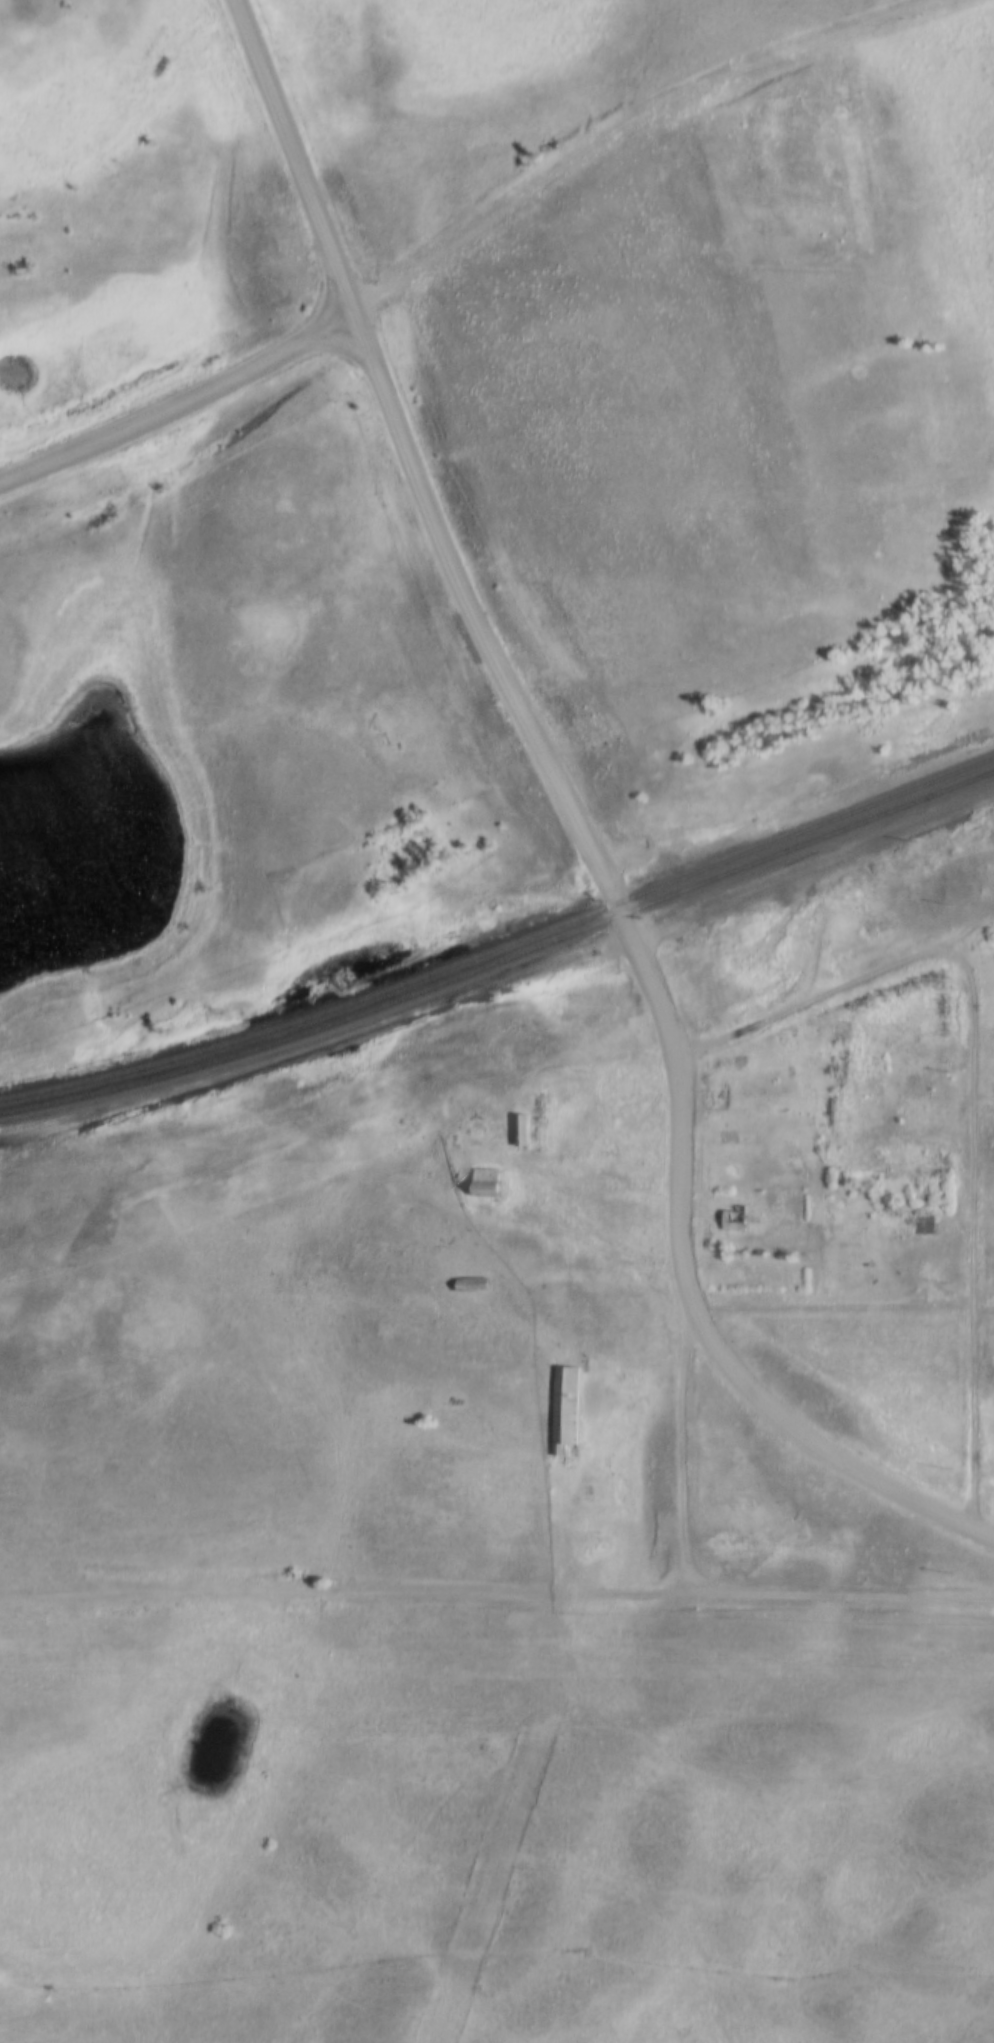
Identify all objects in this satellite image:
road: (289, 159)
road: (175, 407)
railway: (854, 846)
railway: (502, 945)
railway: (502, 958)
road: (647, 968)
road: (967, 1091)
building: (922, 1108)
building: (525, 1129)
building: (490, 1182)
building: (737, 1219)
building: (928, 1222)
building: (477, 1285)
building: (566, 1397)
road: (681, 1455)
road: (984, 1536)
building: (735, 1542)

